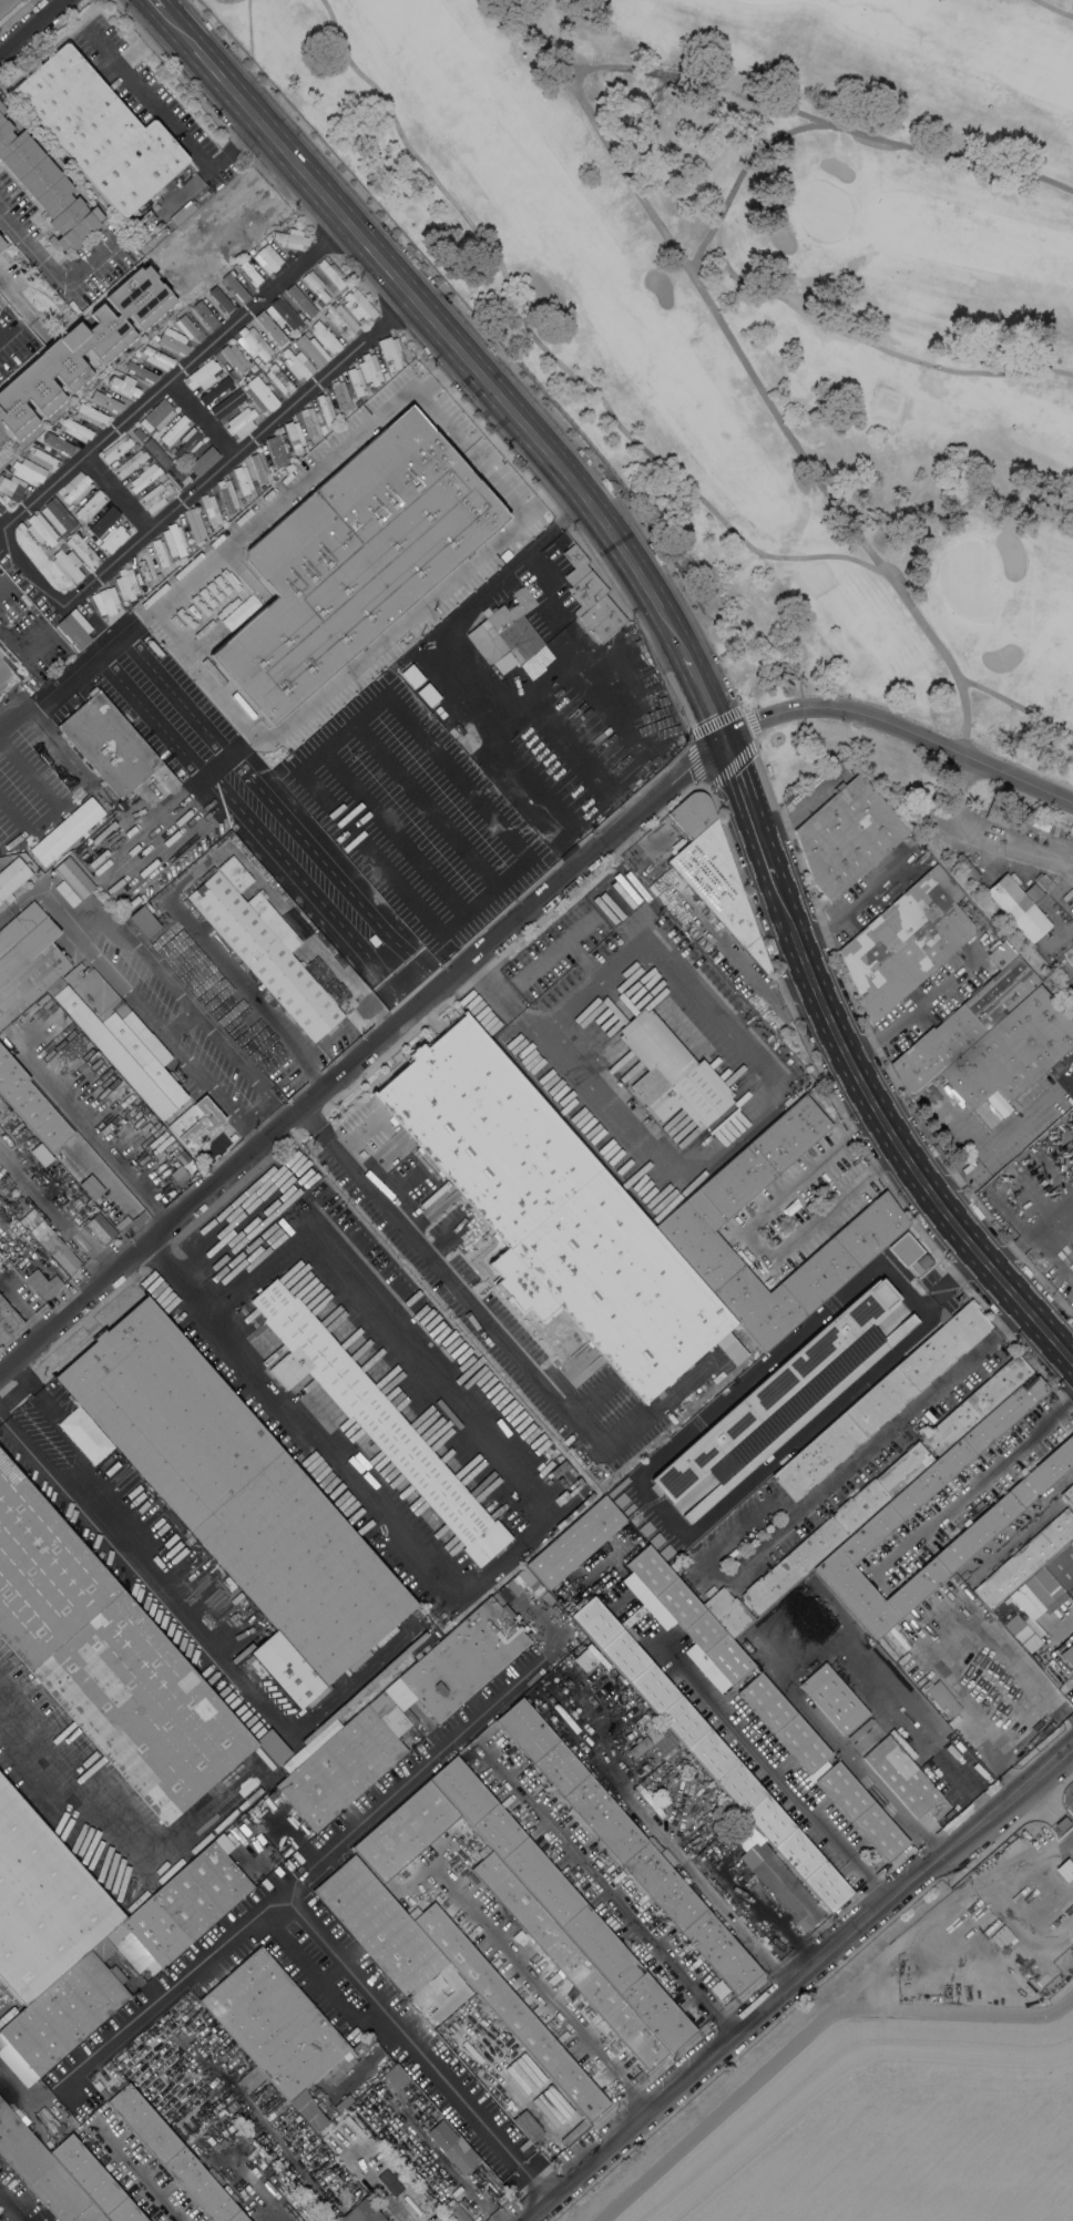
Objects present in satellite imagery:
building: (6, 4)
road: (1055, 8)
road: (31, 27)
road: (163, 116)
road: (818, 120)
building: (99, 130)
road: (738, 176)
building: (47, 186)
road: (233, 208)
park: (824, 211)
building: (157, 223)
building: (282, 225)
building: (292, 238)
building: (1, 243)
building: (241, 244)
building: (267, 258)
road: (50, 270)
building: (331, 273)
building: (251, 274)
road: (694, 282)
building: (316, 285)
building: (235, 286)
building: (336, 298)
building: (300, 299)
building: (221, 300)
building: (359, 306)
building: (0, 308)
road: (21, 310)
building: (284, 314)
building: (205, 315)
park: (773, 316)
road: (435, 319)
building: (341, 320)
building: (186, 326)
building: (270, 328)
road: (9, 330)
building: (325, 337)
building: (174, 342)
building: (253, 344)
road: (870, 344)
building: (289, 345)
building: (81, 349)
road: (545, 349)
building: (310, 351)
building: (391, 352)
park: (845, 356)
building: (235, 357)
building: (157, 358)
building: (258, 362)
road: (190, 364)
building: (294, 365)
building: (140, 368)
building: (372, 368)
building: (259, 371)
road: (440, 371)
building: (203, 375)
building: (279, 378)
building: (356, 379)
building: (124, 383)
building: (214, 390)
building: (369, 390)
building: (260, 393)
building: (340, 395)
building: (108, 400)
park: (977, 400)
building: (228, 403)
building: (326, 408)
building: (91, 413)
building: (157, 414)
road: (201, 420)
building: (242, 420)
building: (310, 420)
building: (75, 429)
building: (175, 430)
building: (139, 433)
building: (295, 434)
building: (37, 441)
building: (59, 442)
building: (187, 442)
building: (116, 448)
building: (276, 450)
road: (472, 451)
building: (157, 452)
building: (42, 458)
building: (203, 459)
building: (131, 461)
building: (260, 467)
building: (29, 470)
building: (144, 477)
building: (18, 479)
building: (243, 479)
road: (205, 481)
building: (75, 487)
building: (11, 488)
building: (228, 494)
building: (155, 495)
road: (284, 495)
road: (546, 495)
building: (90, 504)
building: (70, 505)
building: (211, 509)
building: (58, 515)
building: (225, 516)
road: (14, 518)
building: (103, 520)
building: (195, 523)
building: (41, 529)
building: (113, 538)
building: (177, 538)
building: (95, 539)
building: (64, 546)
road: (534, 546)
building: (45, 549)
building: (82, 549)
building: (162, 552)
building: (347, 555)
building: (68, 564)
building: (145, 567)
park: (965, 579)
building: (127, 584)
building: (105, 600)
building: (412, 602)
building: (205, 613)
building: (600, 616)
park: (871, 623)
road: (396, 627)
building: (74, 628)
building: (438, 628)
road: (126, 634)
road: (12, 648)
road: (942, 653)
park: (906, 666)
building: (339, 667)
road: (206, 674)
building: (508, 679)
building: (489, 697)
road: (706, 698)
road: (1015, 704)
road: (51, 706)
building: (347, 710)
building: (448, 716)
road: (195, 718)
building: (336, 727)
road: (899, 727)
road: (162, 730)
building: (980, 733)
traffic signals: (724, 744)
building: (113, 745)
road: (215, 767)
road: (29, 775)
road: (82, 775)
road: (425, 805)
road: (257, 810)
building: (599, 811)
road: (748, 811)
building: (693, 813)
building: (999, 815)
road: (13, 817)
road: (44, 819)
building: (1040, 823)
building: (67, 830)
road: (394, 833)
building: (846, 835)
building: (500, 836)
building: (968, 866)
road: (515, 869)
road: (114, 870)
building: (12, 876)
building: (74, 877)
building: (718, 886)
road: (307, 889)
road: (351, 894)
road: (43, 897)
road: (855, 902)
building: (1022, 903)
building: (144, 920)
building: (906, 941)
road: (554, 945)
building: (264, 955)
road: (142, 960)
building: (29, 961)
road: (399, 995)
road: (505, 995)
road: (901, 1020)
building: (965, 1021)
road: (178, 1025)
building: (121, 1040)
building: (1012, 1050)
road: (359, 1054)
building: (80, 1061)
building: (672, 1072)
road: (212, 1089)
road: (770, 1096)
building: (30, 1103)
road: (307, 1119)
building: (196, 1122)
road: (961, 1123)
road: (892, 1137)
road: (994, 1142)
building: (41, 1154)
road: (120, 1167)
building: (91, 1186)
building: (707, 1206)
building: (553, 1208)
building: (122, 1221)
road: (237, 1221)
building: (100, 1227)
road: (1034, 1228)
road: (72, 1231)
building: (49, 1240)
road: (754, 1241)
building: (909, 1252)
road: (1053, 1252)
road: (160, 1261)
building: (37, 1278)
road: (181, 1286)
building: (7, 1319)
road: (502, 1337)
building: (909, 1375)
building: (784, 1398)
building: (374, 1417)
building: (810, 1463)
road: (975, 1484)
road: (820, 1488)
building: (1067, 1495)
building: (236, 1500)
building: (917, 1504)
road: (671, 1518)
road: (534, 1527)
building: (575, 1543)
building: (1025, 1559)
building: (1061, 1567)
road: (145, 1573)
building: (1043, 1580)
building: (521, 1585)
building: (999, 1607)
building: (727, 1610)
building: (685, 1618)
building: (1021, 1633)
building: (1069, 1654)
building: (106, 1659)
building: (1059, 1675)
building: (832, 1698)
building: (943, 1698)
building: (380, 1715)
building: (784, 1722)
building: (651, 1727)
road: (1016, 1729)
road: (829, 1734)
building: (638, 1747)
building: (712, 1753)
road: (764, 1762)
road: (403, 1777)
building: (903, 1779)
road: (965, 1783)
building: (861, 1811)
building: (1062, 1823)
road: (114, 1826)
building: (406, 1830)
building: (740, 1835)
building: (627, 1845)
building: (667, 1856)
road: (684, 1862)
road: (1016, 1866)
building: (1064, 1869)
road: (611, 1887)
building: (787, 1890)
building: (42, 1903)
building: (563, 1904)
road: (765, 1904)
building: (388, 1935)
road: (319, 1945)
road: (890, 1951)
building: (568, 1958)
building: (149, 1961)
road: (797, 1978)
road: (536, 1989)
building: (508, 2008)
road: (804, 2029)
building: (279, 2030)
building: (378, 2068)
building: (387, 2070)
building: (640, 2076)
building: (394, 2079)
building: (253, 2081)
building: (548, 2088)
building: (343, 2102)
building: (527, 2123)
building: (574, 2131)
building: (454, 2149)
building: (174, 2156)
building: (42, 2171)
building: (95, 2180)
building: (390, 2180)
road: (151, 2188)
road: (256, 2188)
road: (10, 2209)
building: (364, 2211)
building: (425, 2211)
building: (456, 2211)
building: (443, 2220)

